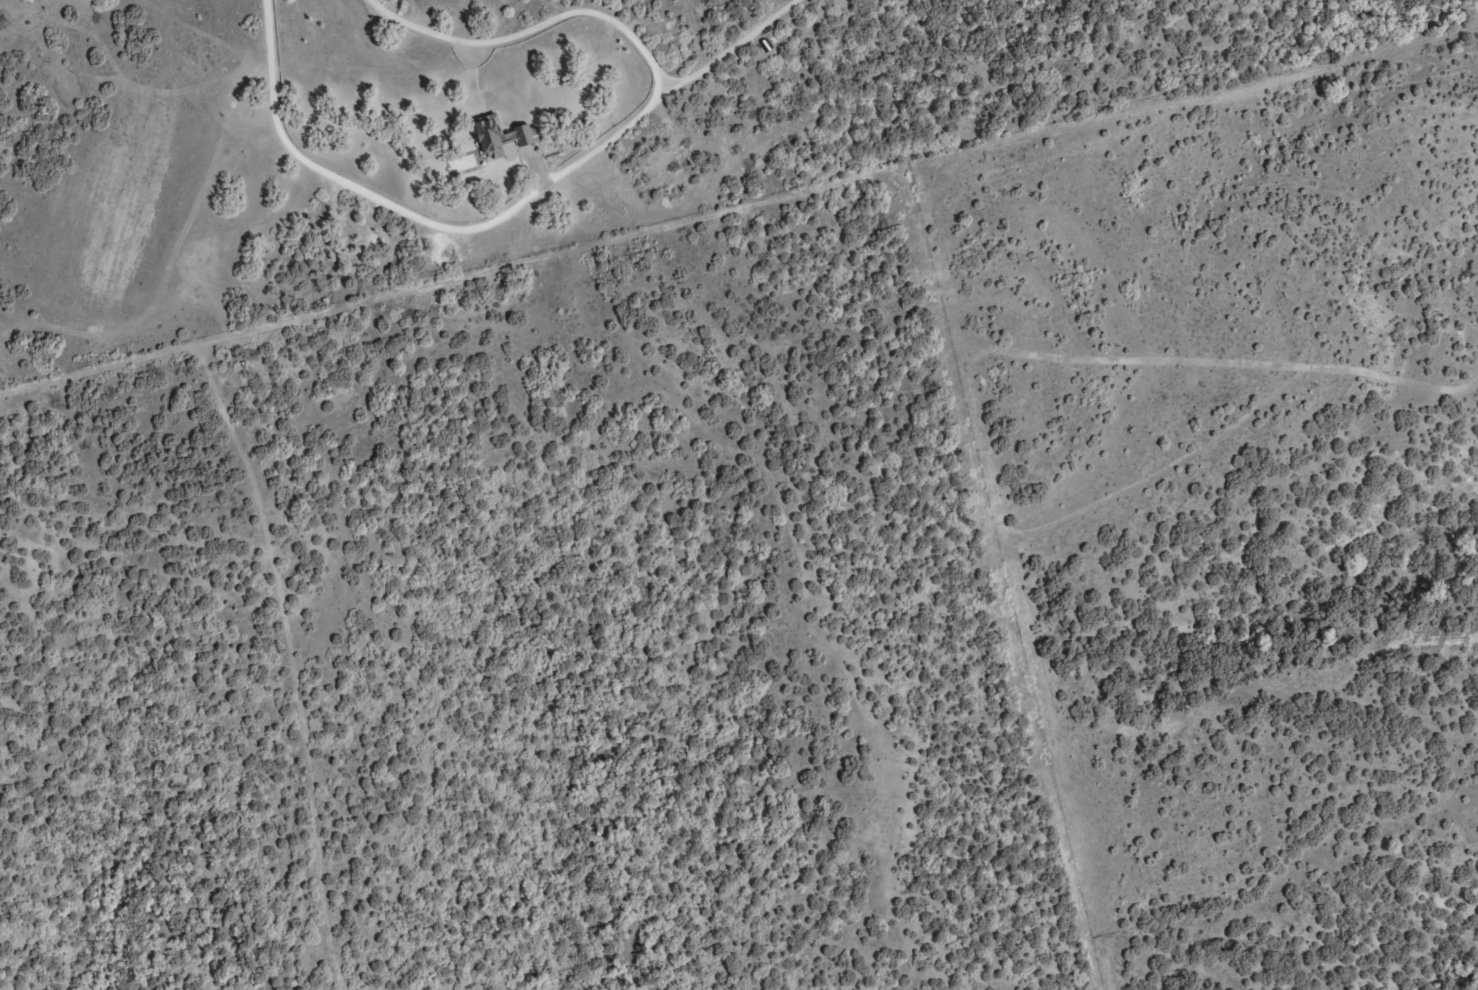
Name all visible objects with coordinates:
building: (488, 153)
road: (567, 169)
road: (931, 293)

